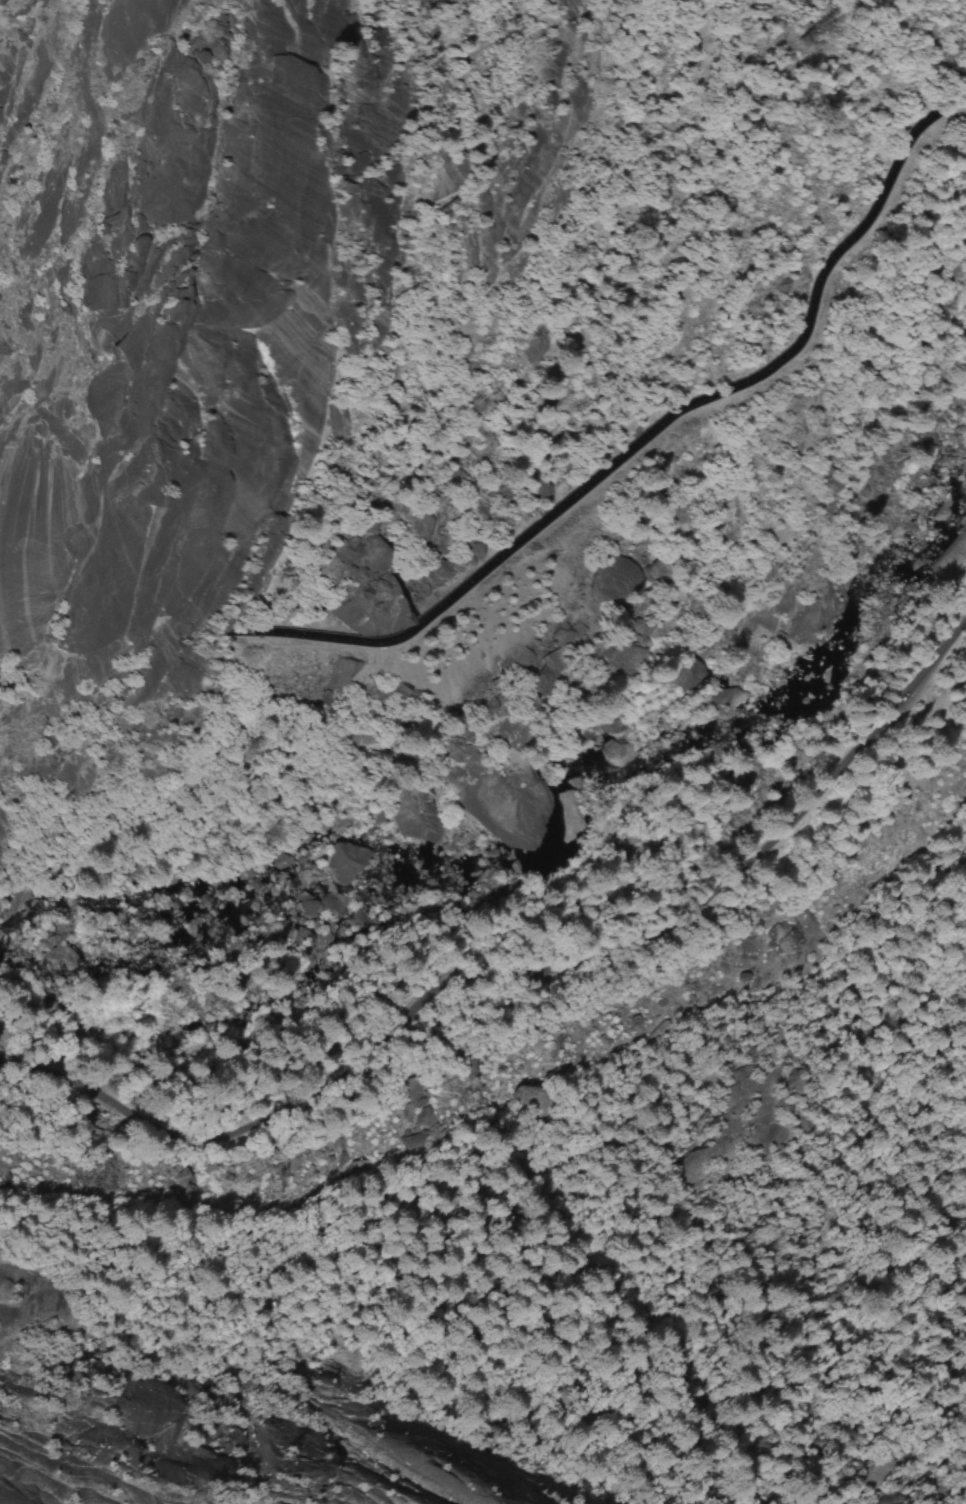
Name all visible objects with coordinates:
river: (520, 814)
power tower: (788, 946)
road: (521, 975)
power tower: (550, 1060)
power tower: (274, 1188)

